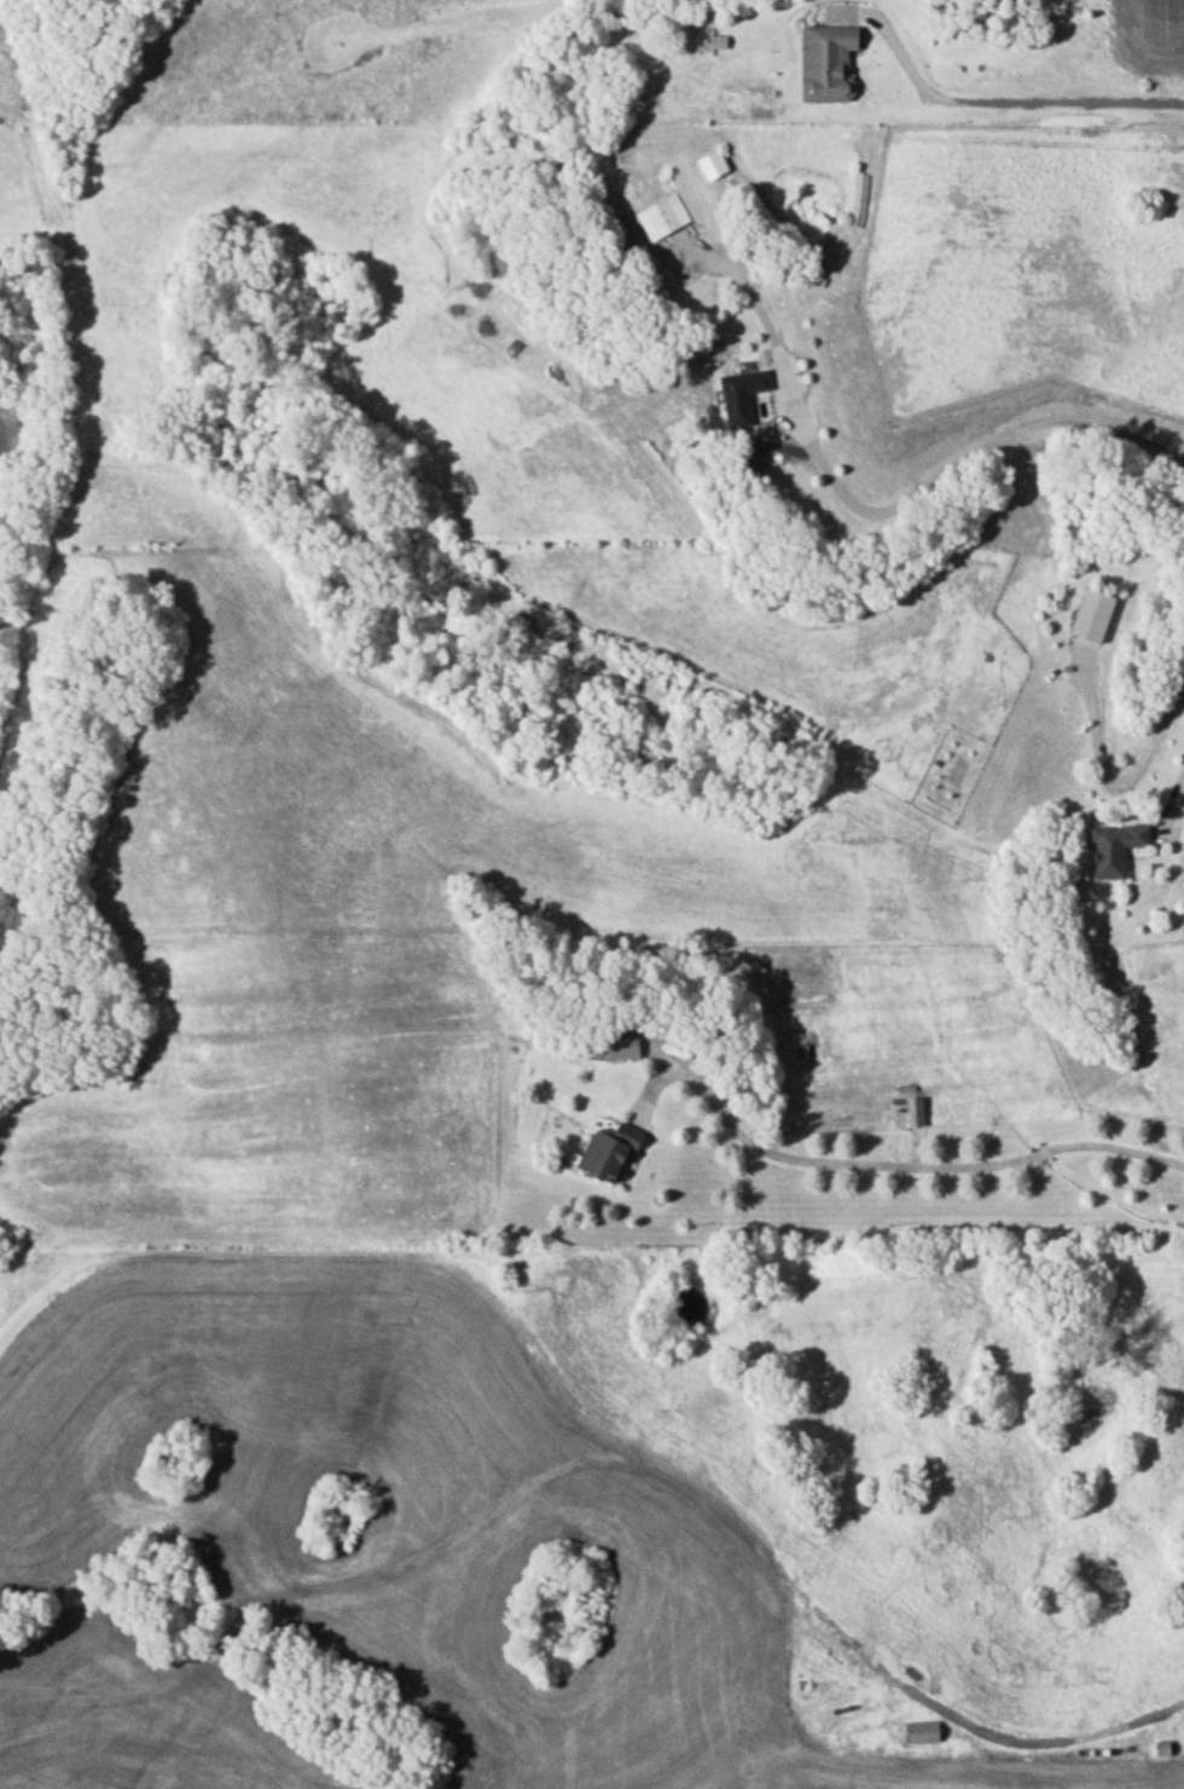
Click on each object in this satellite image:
building: (829, 62)
road: (999, 85)
building: (712, 162)
building: (662, 215)
building: (742, 394)
road: (946, 470)
building: (1092, 615)
road: (1178, 795)
building: (1115, 849)
building: (621, 1044)
building: (913, 1111)
building: (606, 1152)
road: (913, 1166)
building: (921, 1731)
road: (1026, 1742)

